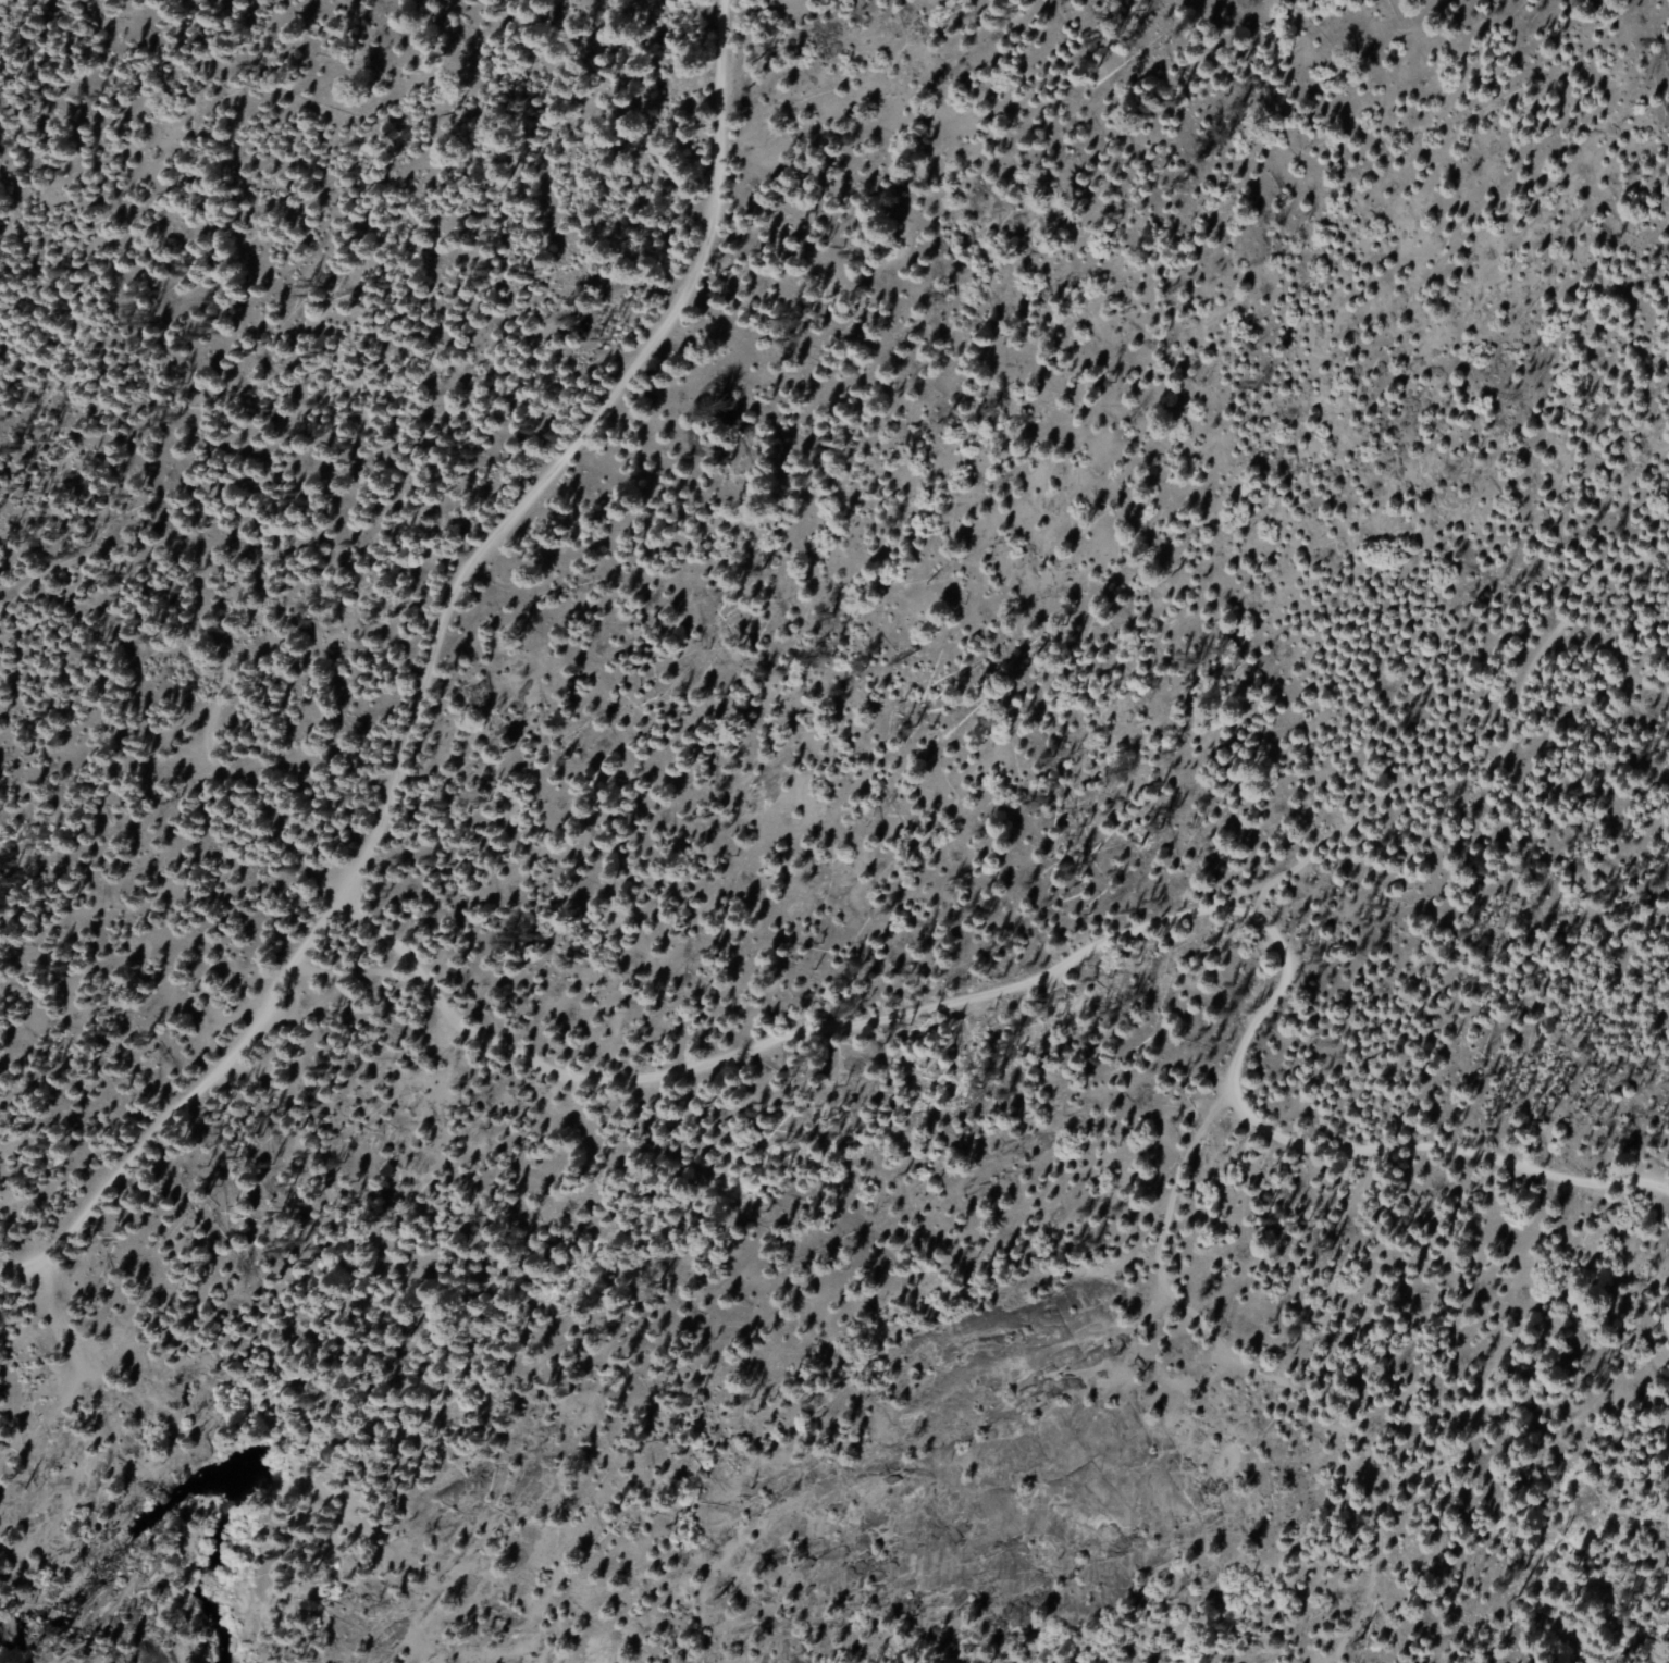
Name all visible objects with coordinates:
road: (565, 449)
road: (1090, 951)
road: (188, 1093)

